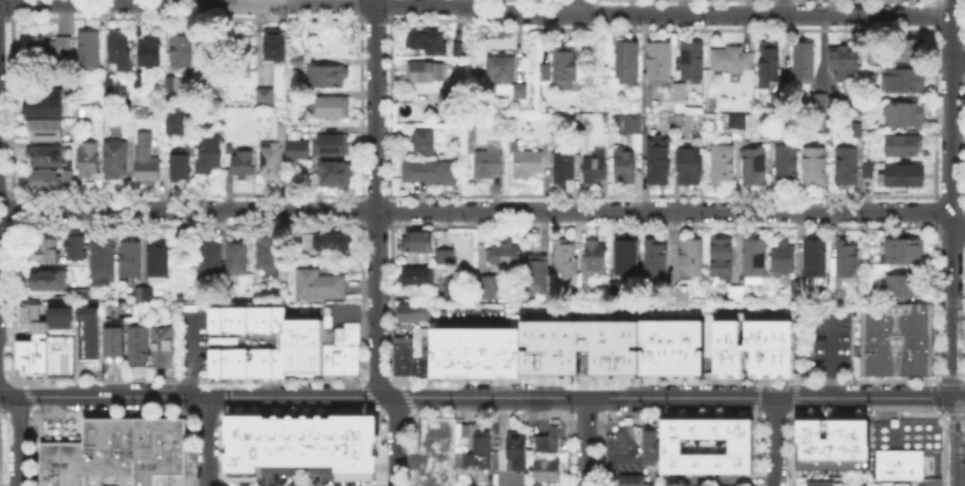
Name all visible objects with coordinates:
road: (178, 0)
road: (474, 5)
road: (576, 7)
road: (783, 7)
building: (428, 41)
building: (276, 46)
building: (121, 47)
building: (89, 50)
building: (459, 50)
building: (51, 51)
building: (907, 51)
building: (183, 52)
building: (152, 53)
road: (958, 59)
building: (628, 60)
building: (660, 61)
building: (732, 61)
building: (694, 63)
building: (804, 63)
building: (848, 63)
building: (566, 64)
building: (770, 65)
building: (504, 70)
building: (427, 72)
building: (545, 73)
building: (322, 75)
building: (100, 79)
building: (904, 82)
building: (171, 85)
building: (522, 92)
building: (681, 93)
building: (266, 100)
building: (453, 100)
building: (818, 103)
building: (777, 104)
building: (834, 104)
building: (43, 107)
building: (333, 107)
building: (905, 116)
building: (737, 121)
building: (178, 122)
building: (631, 125)
building: (46, 130)
building: (858, 131)
building: (777, 136)
building: (80, 137)
building: (424, 142)
building: (294, 143)
building: (333, 147)
building: (904, 147)
building: (47, 156)
building: (210, 156)
building: (90, 160)
building: (117, 160)
building: (148, 160)
building: (530, 161)
building: (272, 162)
building: (724, 164)
building: (787, 164)
building: (244, 165)
building: (490, 165)
building: (659, 165)
building: (597, 167)
building: (691, 167)
building: (756, 167)
building: (816, 167)
building: (848, 167)
building: (182, 168)
building: (625, 168)
building: (565, 169)
building: (869, 172)
building: (432, 174)
building: (335, 175)
building: (70, 177)
building: (907, 177)
building: (46, 181)
road: (951, 199)
road: (483, 211)
building: (327, 241)
building: (419, 243)
building: (73, 244)
road: (376, 244)
building: (41, 248)
building: (266, 251)
building: (902, 252)
building: (235, 255)
building: (510, 255)
building: (208, 256)
building: (596, 256)
building: (784, 256)
building: (629, 257)
building: (129, 258)
building: (566, 258)
building: (692, 258)
building: (156, 259)
building: (723, 259)
building: (755, 259)
building: (100, 260)
building: (445, 260)
building: (816, 260)
building: (848, 261)
building: (657, 263)
building: (537, 273)
building: (421, 278)
building: (46, 279)
building: (317, 283)
building: (906, 287)
building: (491, 288)
building: (798, 290)
building: (457, 291)
building: (617, 291)
building: (142, 292)
building: (79, 293)
building: (682, 294)
building: (736, 295)
building: (126, 308)
building: (28, 311)
building: (413, 311)
building: (325, 315)
road: (471, 321)
building: (895, 337)
building: (33, 338)
parking lot: (193, 338)
building: (246, 341)
building: (88, 342)
building: (753, 342)
building: (113, 343)
building: (137, 345)
building: (161, 345)
building: (303, 346)
building: (579, 346)
building: (670, 346)
building: (403, 350)
building: (341, 352)
building: (474, 352)
road: (498, 352)
building: (59, 355)
road: (829, 355)
building: (420, 357)
building: (30, 360)
road: (498, 387)
road: (4, 388)
road: (4, 396)
road: (481, 397)
traffic signals: (954, 398)
road: (959, 398)
road: (539, 417)
road: (552, 431)
road: (571, 431)
road: (18, 439)
building: (546, 440)
building: (624, 440)
road: (207, 441)
building: (299, 441)
road: (586, 441)
road: (775, 441)
road: (956, 441)
building: (647, 443)
building: (831, 443)
building: (739, 444)
building: (471, 447)
building: (514, 448)
building: (133, 451)
building: (61, 463)
building: (897, 463)
building: (545, 468)
building: (631, 479)
road: (723, 480)
building: (484, 483)
building: (532, 483)
building: (821, 484)

